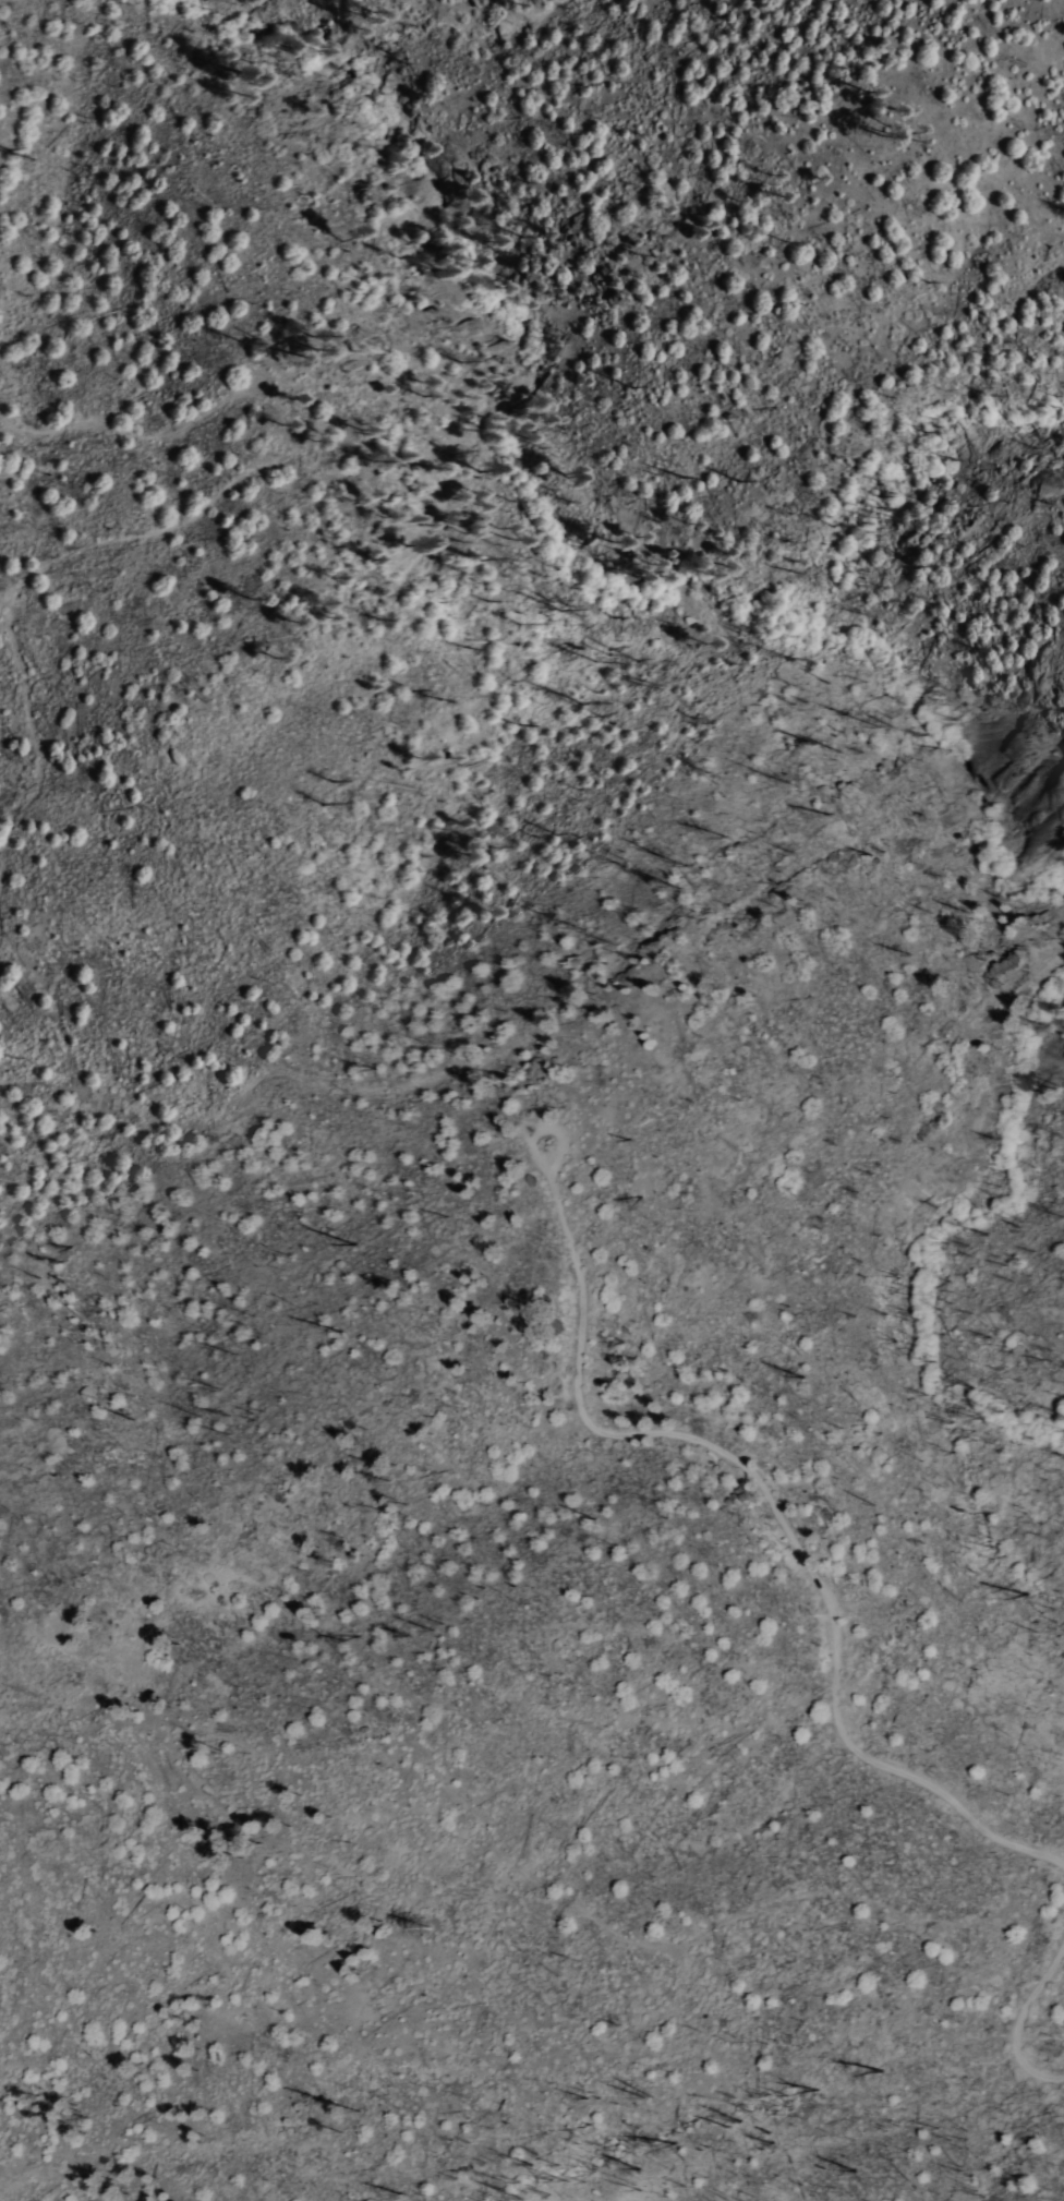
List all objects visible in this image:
road: (766, 1515)
road: (1020, 2017)

